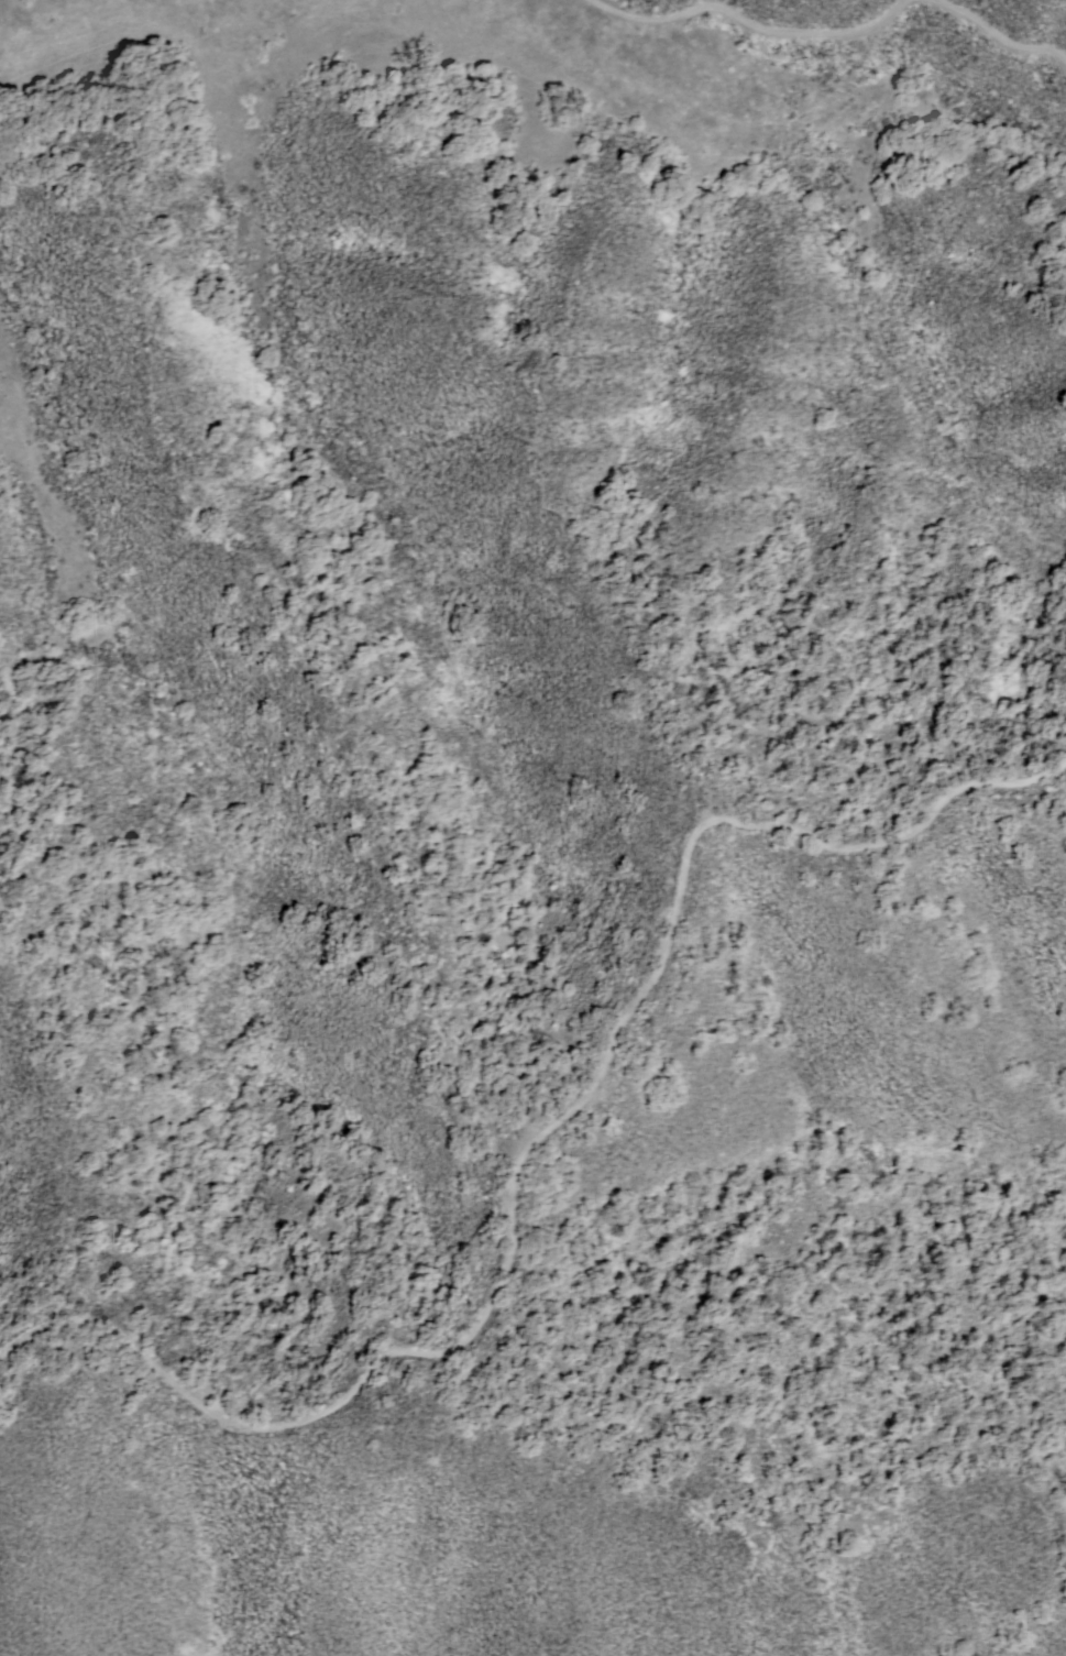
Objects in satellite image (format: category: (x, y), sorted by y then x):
park: (1031, 1593)

